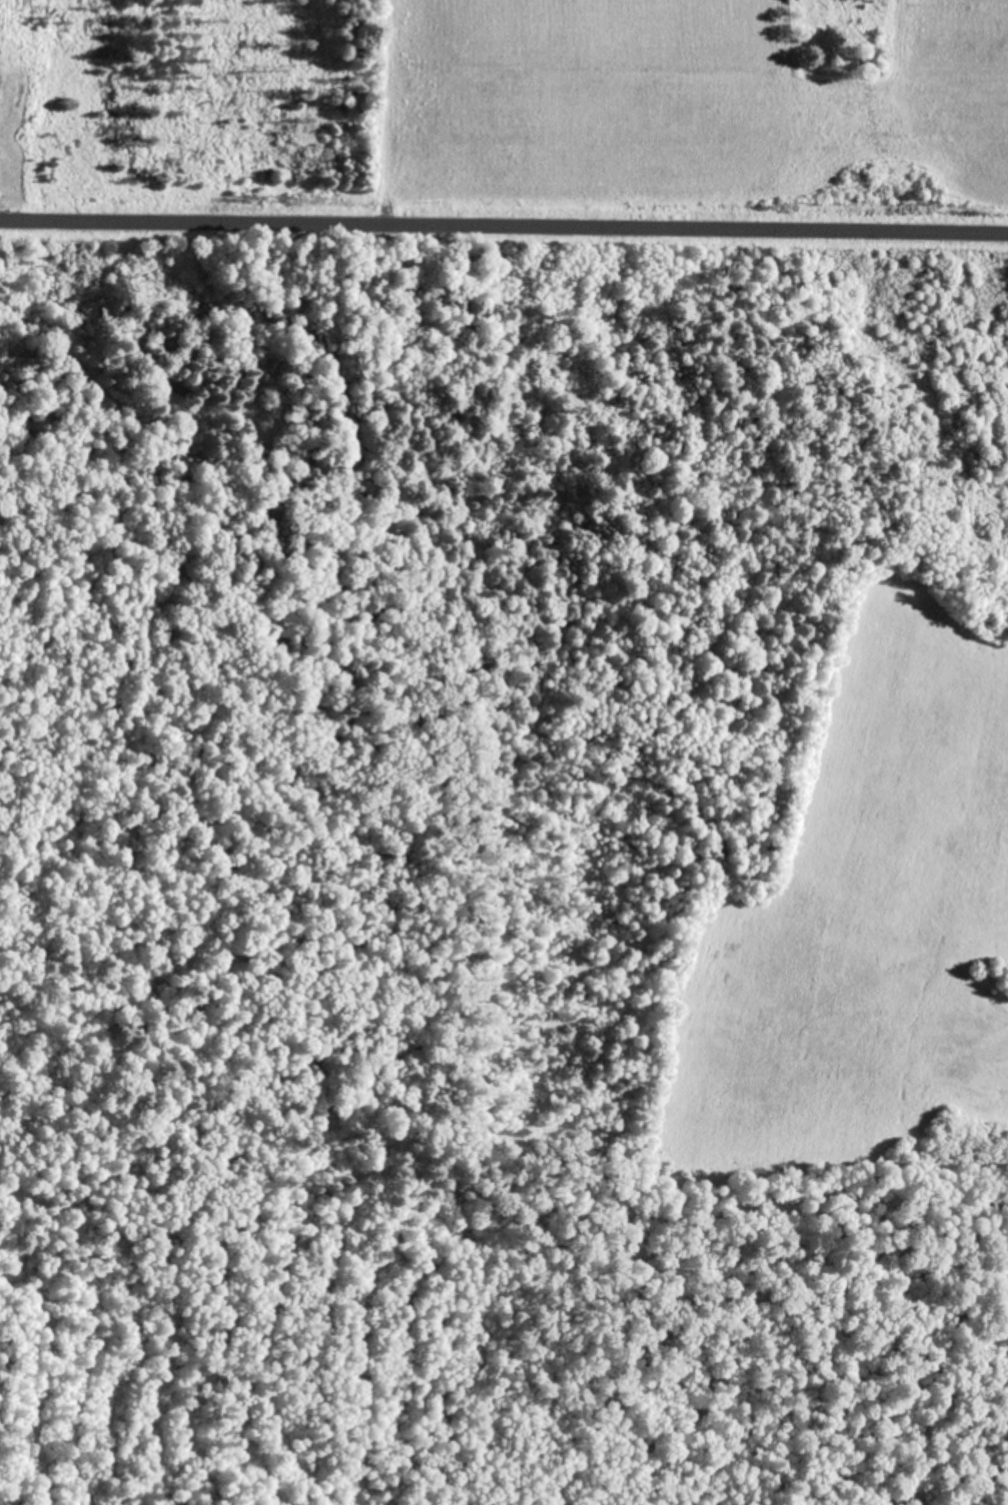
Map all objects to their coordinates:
road: (504, 237)

